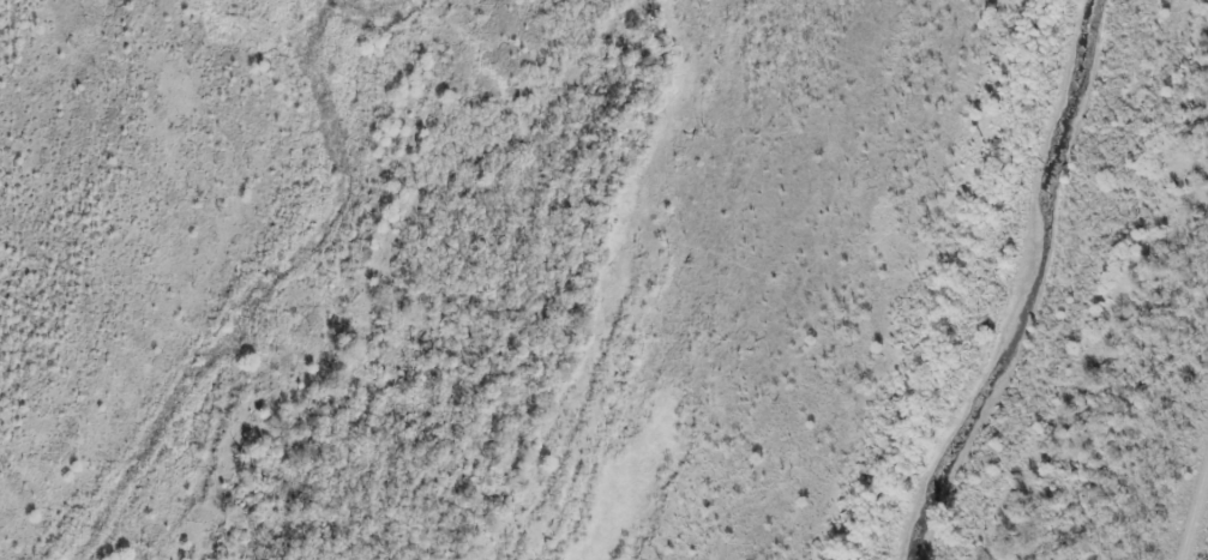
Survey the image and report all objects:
river: (1030, 287)
road: (1154, 392)

